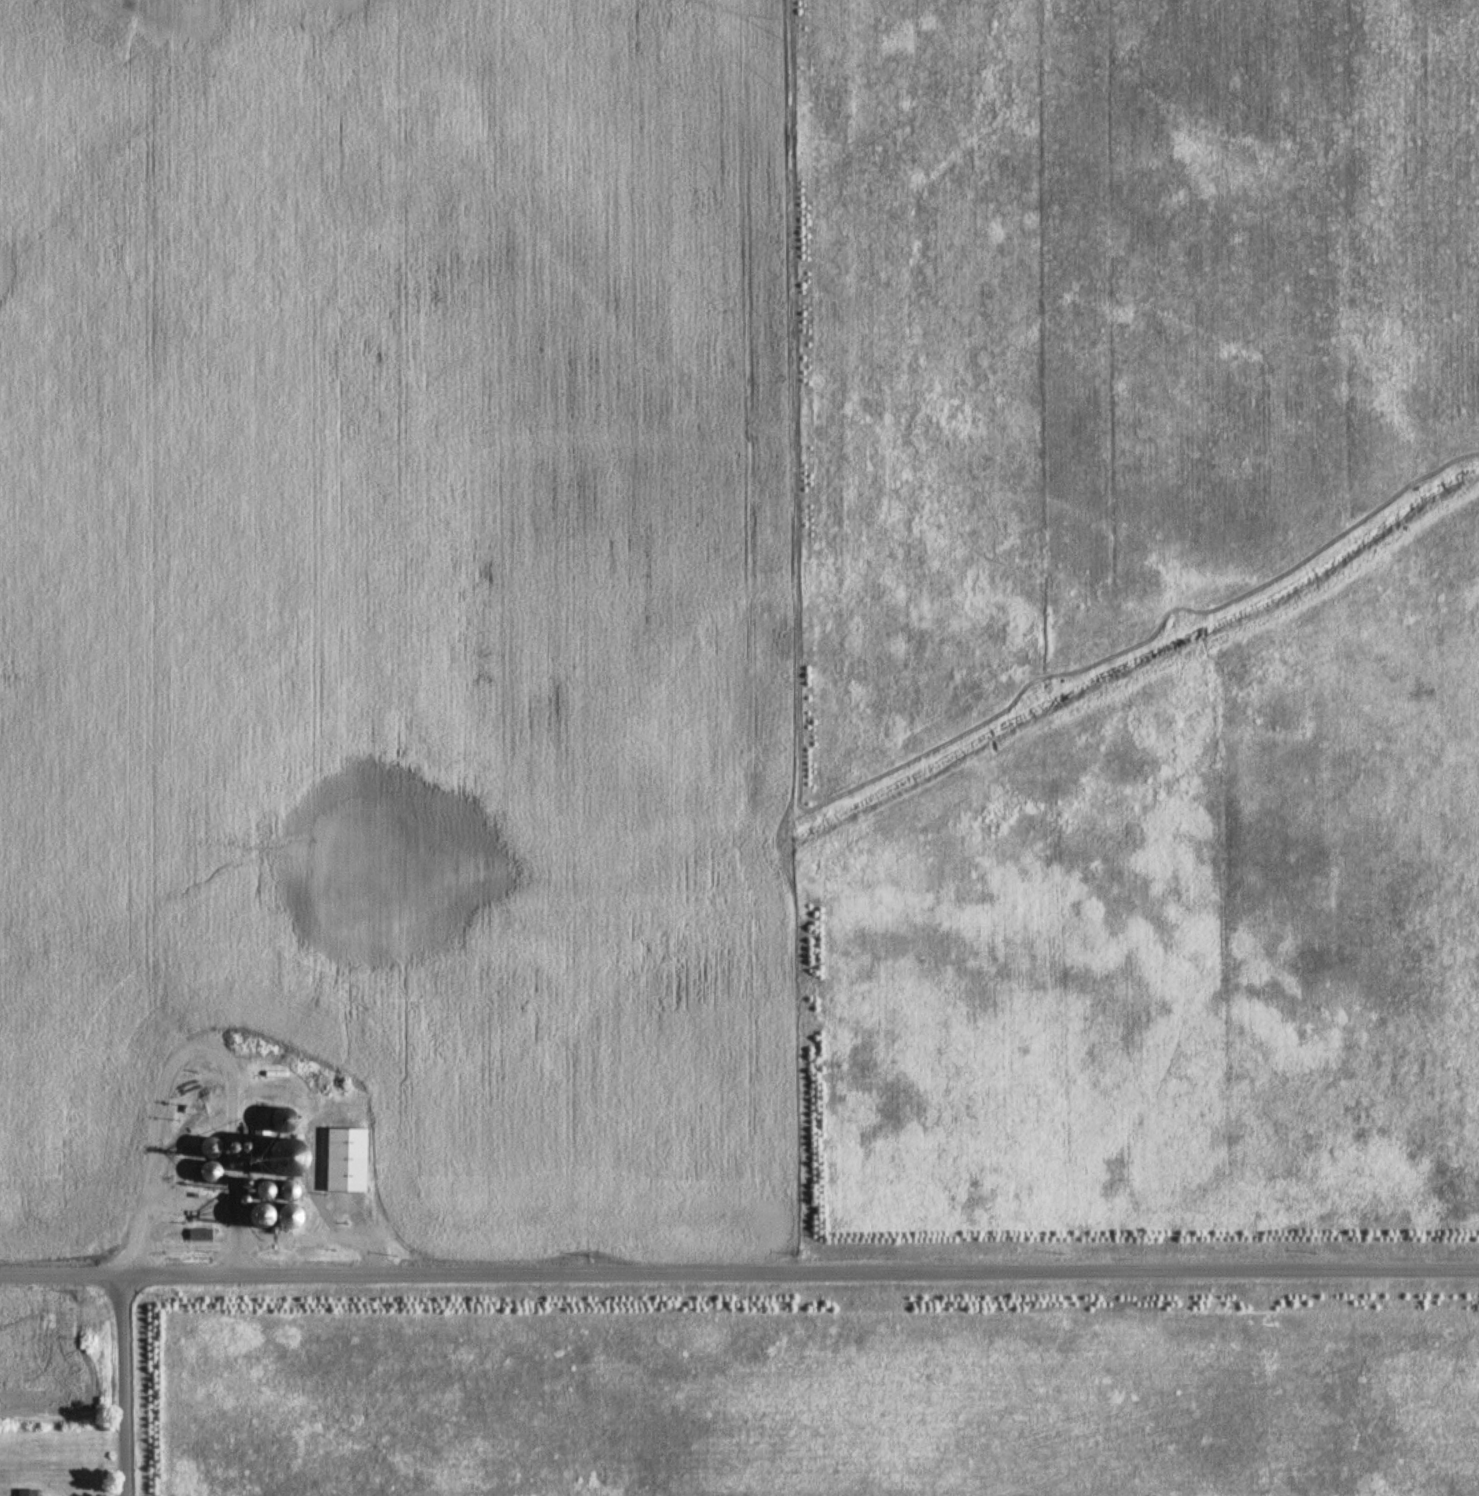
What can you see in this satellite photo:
road: (166, 1061)
building: (276, 1120)
building: (204, 1148)
building: (261, 1149)
building: (343, 1160)
building: (203, 1173)
building: (287, 1218)
building: (198, 1235)
road: (739, 1272)
road: (112, 1383)
building: (24, 1493)

